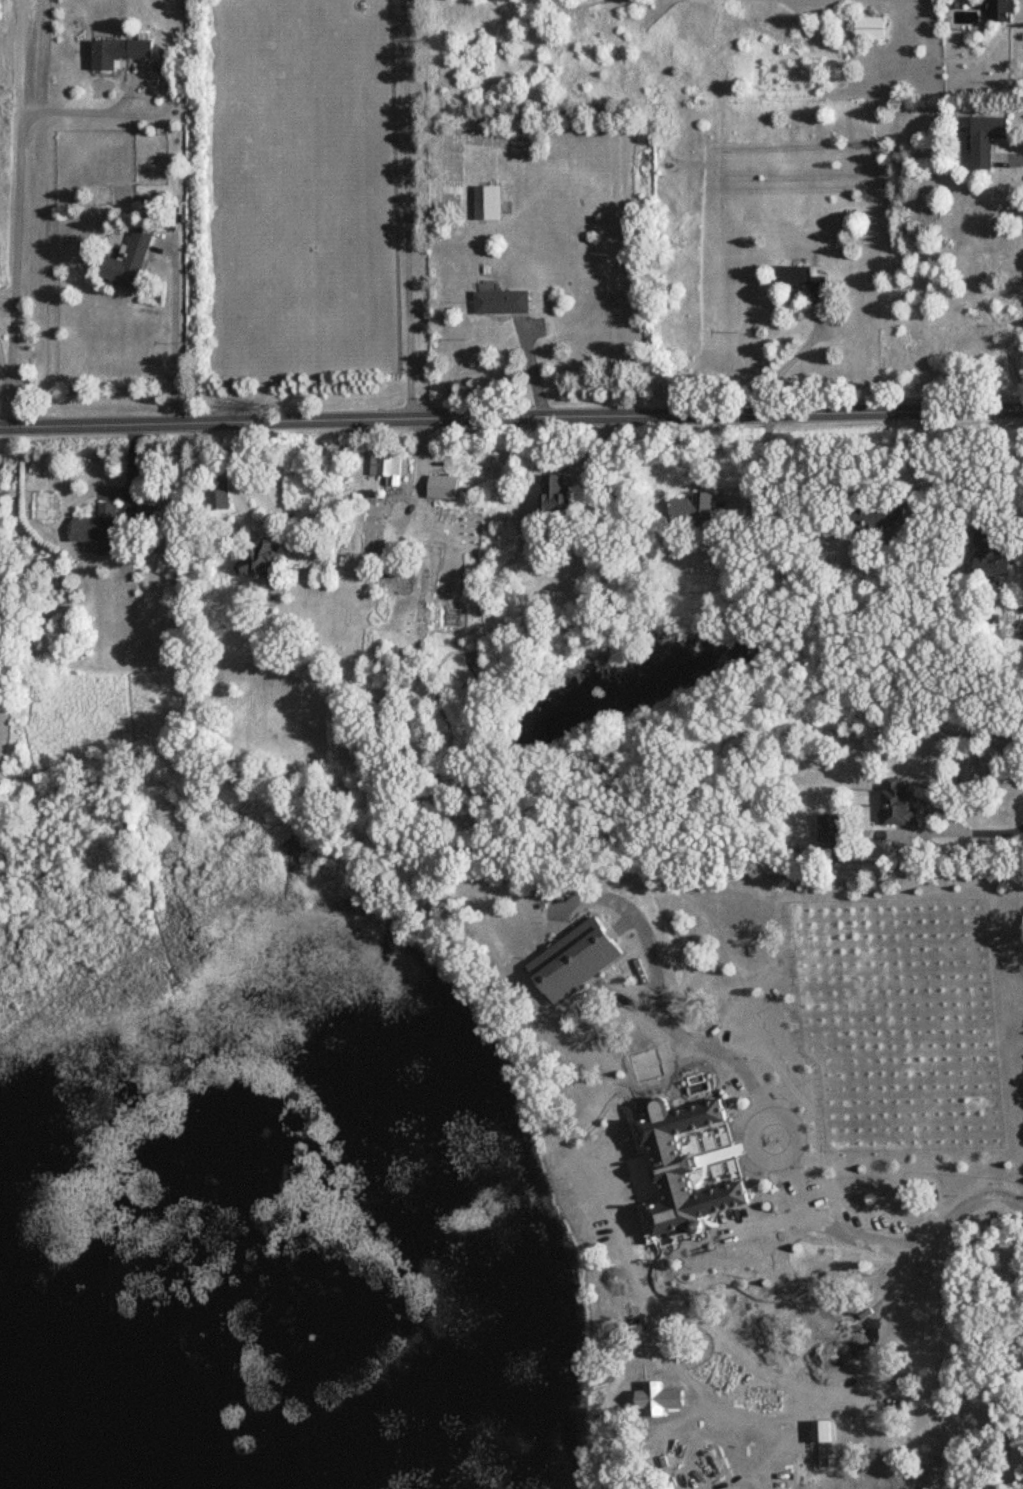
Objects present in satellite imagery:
building: (1006, 11)
building: (868, 29)
building: (144, 49)
building: (108, 56)
building: (991, 139)
road: (16, 150)
building: (156, 199)
building: (490, 202)
road: (408, 209)
building: (130, 258)
building: (809, 278)
building: (508, 302)
road: (174, 331)
road: (785, 361)
building: (219, 388)
road: (511, 417)
building: (389, 468)
building: (220, 492)
building: (555, 499)
building: (687, 509)
building: (885, 519)
building: (98, 529)
road: (1017, 529)
building: (373, 536)
building: (992, 555)
building: (261, 559)
building: (909, 802)
road: (292, 826)
building: (827, 827)
road: (136, 828)
road: (940, 828)
road: (289, 857)
road: (588, 892)
building: (735, 897)
building: (572, 960)
road: (634, 1007)
building: (824, 1067)
road: (792, 1138)
road: (749, 1144)
building: (679, 1162)

